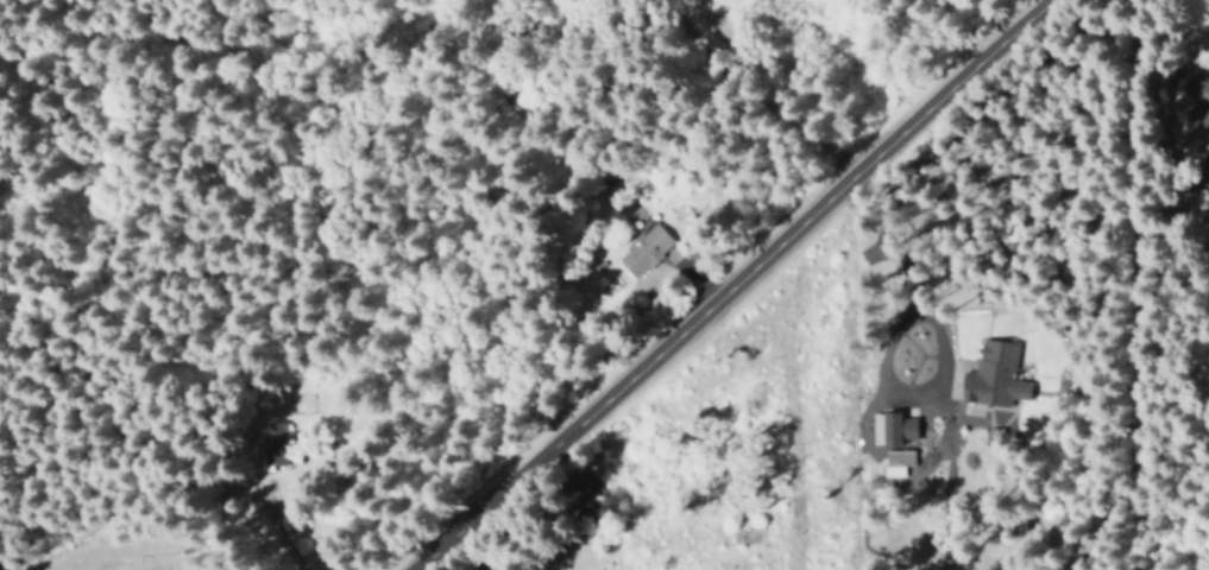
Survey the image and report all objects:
building: (1189, 94)
building: (1204, 160)
building: (1207, 190)
building: (643, 248)
road: (736, 284)
road: (1132, 285)
building: (994, 375)
building: (892, 427)
building: (993, 435)
building: (273, 443)
building: (896, 461)

